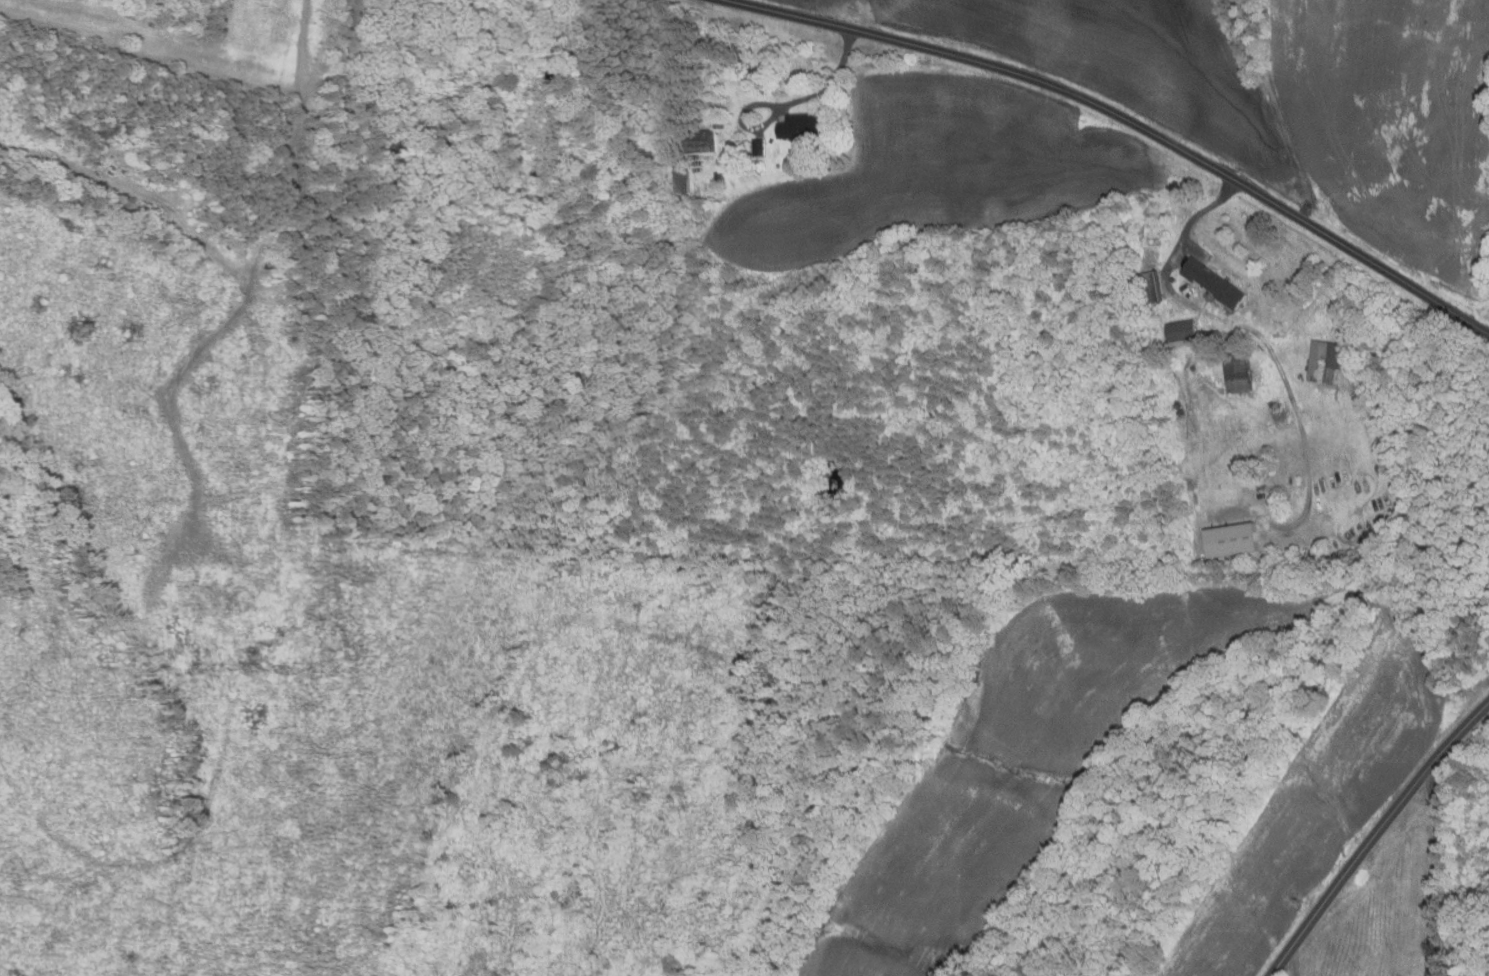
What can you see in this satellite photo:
building: (405, 7)
crop: (1120, 63)
building: (393, 74)
building: (381, 89)
road: (790, 103)
road: (1126, 118)
building: (439, 119)
crop: (1391, 123)
building: (803, 129)
building: (702, 142)
building: (760, 148)
building: (389, 151)
building: (736, 170)
building: (720, 178)
building: (681, 179)
road: (1188, 226)
building: (426, 244)
building: (1216, 283)
building: (1153, 287)
building: (1185, 331)
building: (1216, 338)
building: (1330, 361)
building: (1239, 373)
building: (1178, 408)
building: (1236, 541)
road: (1375, 837)
road: (1442, 872)

